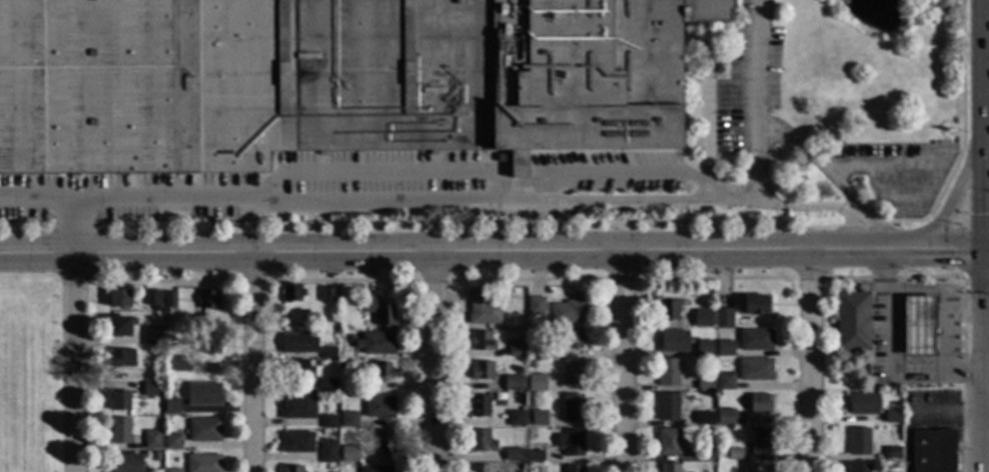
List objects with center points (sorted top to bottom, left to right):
road: (984, 24)
road: (759, 62)
building: (332, 80)
road: (962, 114)
road: (758, 164)
road: (621, 174)
road: (384, 175)
road: (829, 180)
road: (517, 195)
road: (60, 203)
road: (414, 203)
road: (827, 209)
road: (946, 211)
road: (937, 220)
road: (959, 221)
road: (985, 235)
road: (494, 253)
traffic signals: (985, 254)
road: (962, 266)
building: (291, 293)
building: (328, 295)
building: (119, 298)
building: (152, 298)
building: (170, 300)
building: (208, 301)
building: (755, 305)
building: (535, 306)
building: (483, 309)
building: (668, 309)
building: (378, 311)
building: (569, 311)
building: (196, 314)
road: (948, 317)
building: (723, 318)
building: (702, 319)
building: (852, 322)
building: (919, 326)
building: (119, 327)
building: (151, 336)
building: (351, 339)
building: (572, 340)
building: (755, 340)
building: (482, 341)
building: (672, 342)
building: (299, 343)
building: (376, 343)
building: (210, 344)
building: (516, 349)
building: (704, 349)
building: (724, 349)
building: (328, 353)
road: (894, 353)
building: (122, 358)
building: (157, 360)
road: (74, 362)
road: (621, 362)
road: (252, 363)
road: (433, 363)
road: (813, 363)
building: (180, 364)
building: (319, 364)
building: (532, 364)
building: (343, 365)
building: (295, 370)
building: (755, 370)
building: (482, 371)
building: (383, 372)
building: (573, 372)
building: (667, 373)
building: (155, 376)
building: (725, 382)
building: (514, 383)
building: (537, 383)
building: (704, 385)
building: (327, 386)
building: (151, 390)
building: (203, 394)
building: (122, 401)
building: (760, 404)
building: (863, 404)
building: (480, 406)
building: (379, 407)
building: (172, 408)
building: (298, 408)
building: (572, 408)
building: (667, 408)
building: (724, 416)
building: (539, 418)
building: (516, 419)
building: (703, 419)
building: (900, 419)
building: (348, 420)
building: (329, 422)
building: (204, 430)
building: (120, 431)
building: (346, 436)
building: (151, 440)
building: (172, 442)
building: (481, 442)
building: (668, 442)
building: (761, 442)
building: (858, 442)
building: (297, 443)
building: (385, 443)
building: (571, 443)
building: (933, 451)
building: (328, 452)
building: (892, 452)
building: (704, 453)
building: (349, 454)
building: (721, 454)
building: (513, 455)
building: (734, 455)
building: (155, 456)
building: (536, 456)
building: (126, 463)
building: (204, 463)
building: (523, 467)
building: (670, 468)
building: (759, 468)
building: (859, 468)
building: (292, 469)
building: (378, 469)
building: (480, 469)
building: (573, 469)
building: (172, 471)

